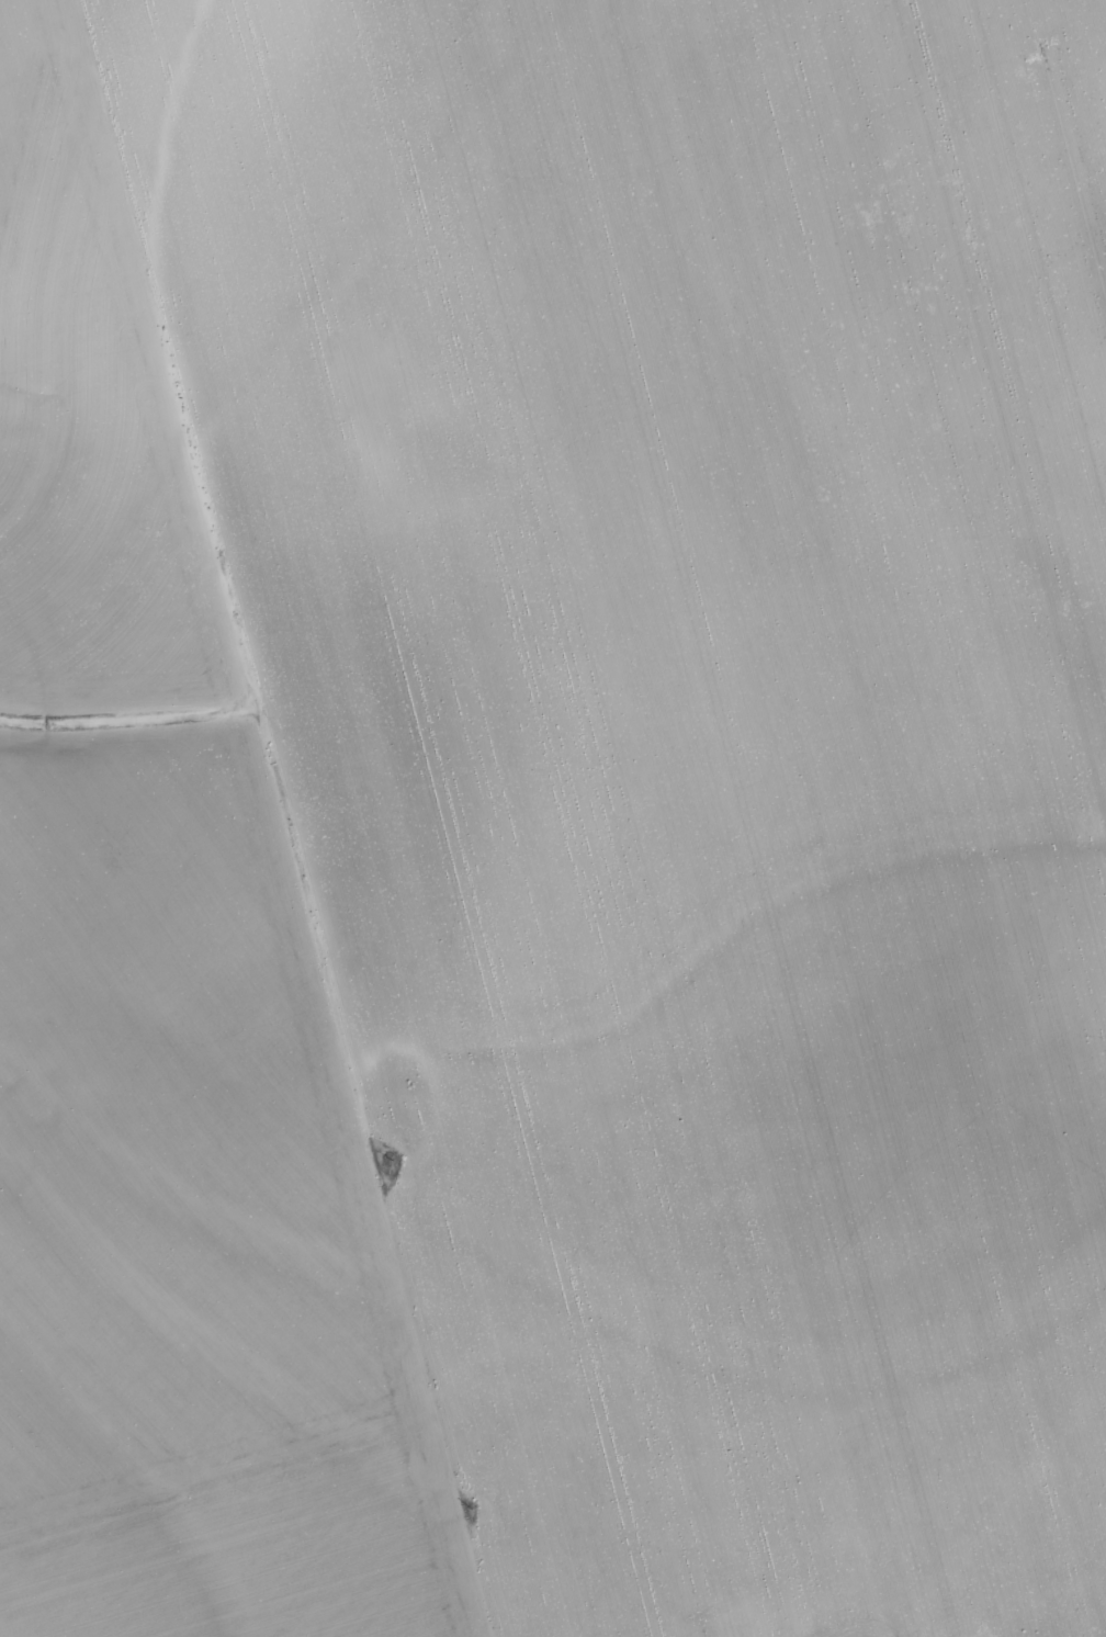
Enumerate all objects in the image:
building: (1052, 278)

